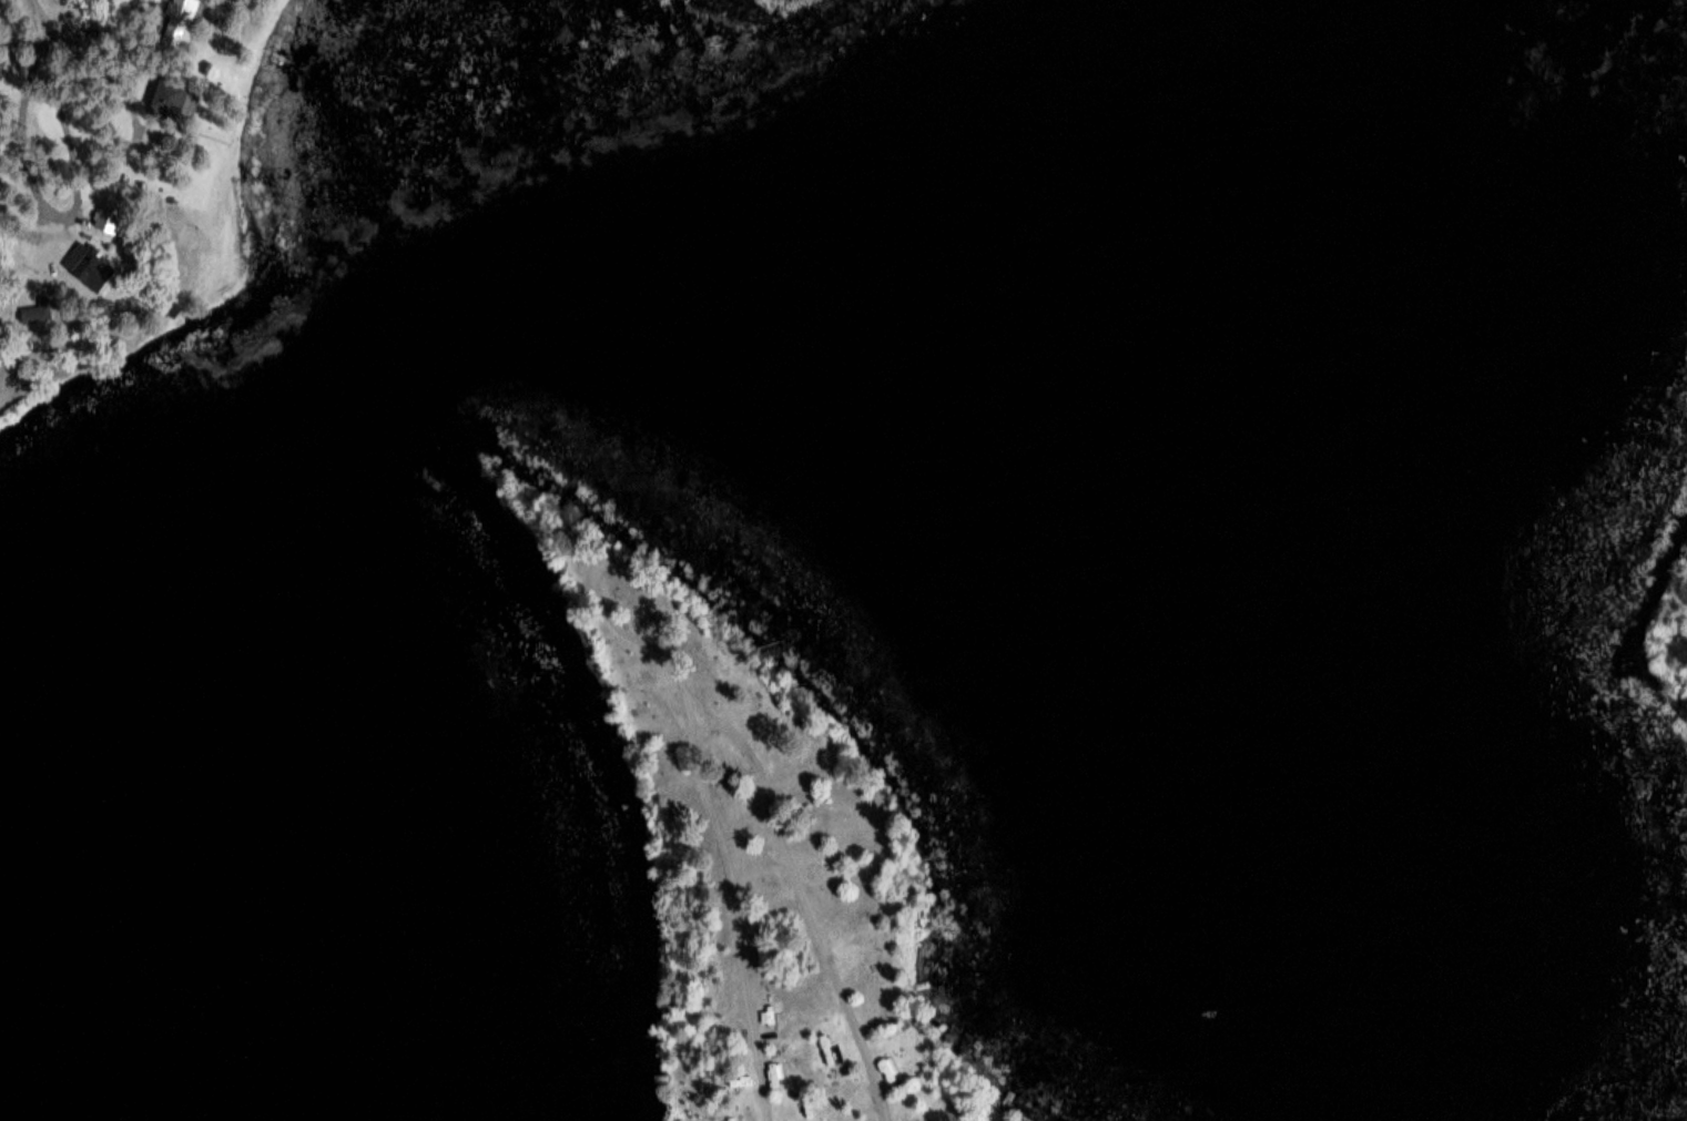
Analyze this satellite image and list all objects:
road: (41, 13)
building: (189, 22)
building: (177, 98)
building: (92, 265)
building: (34, 312)
park: (772, 849)
building: (890, 1070)

